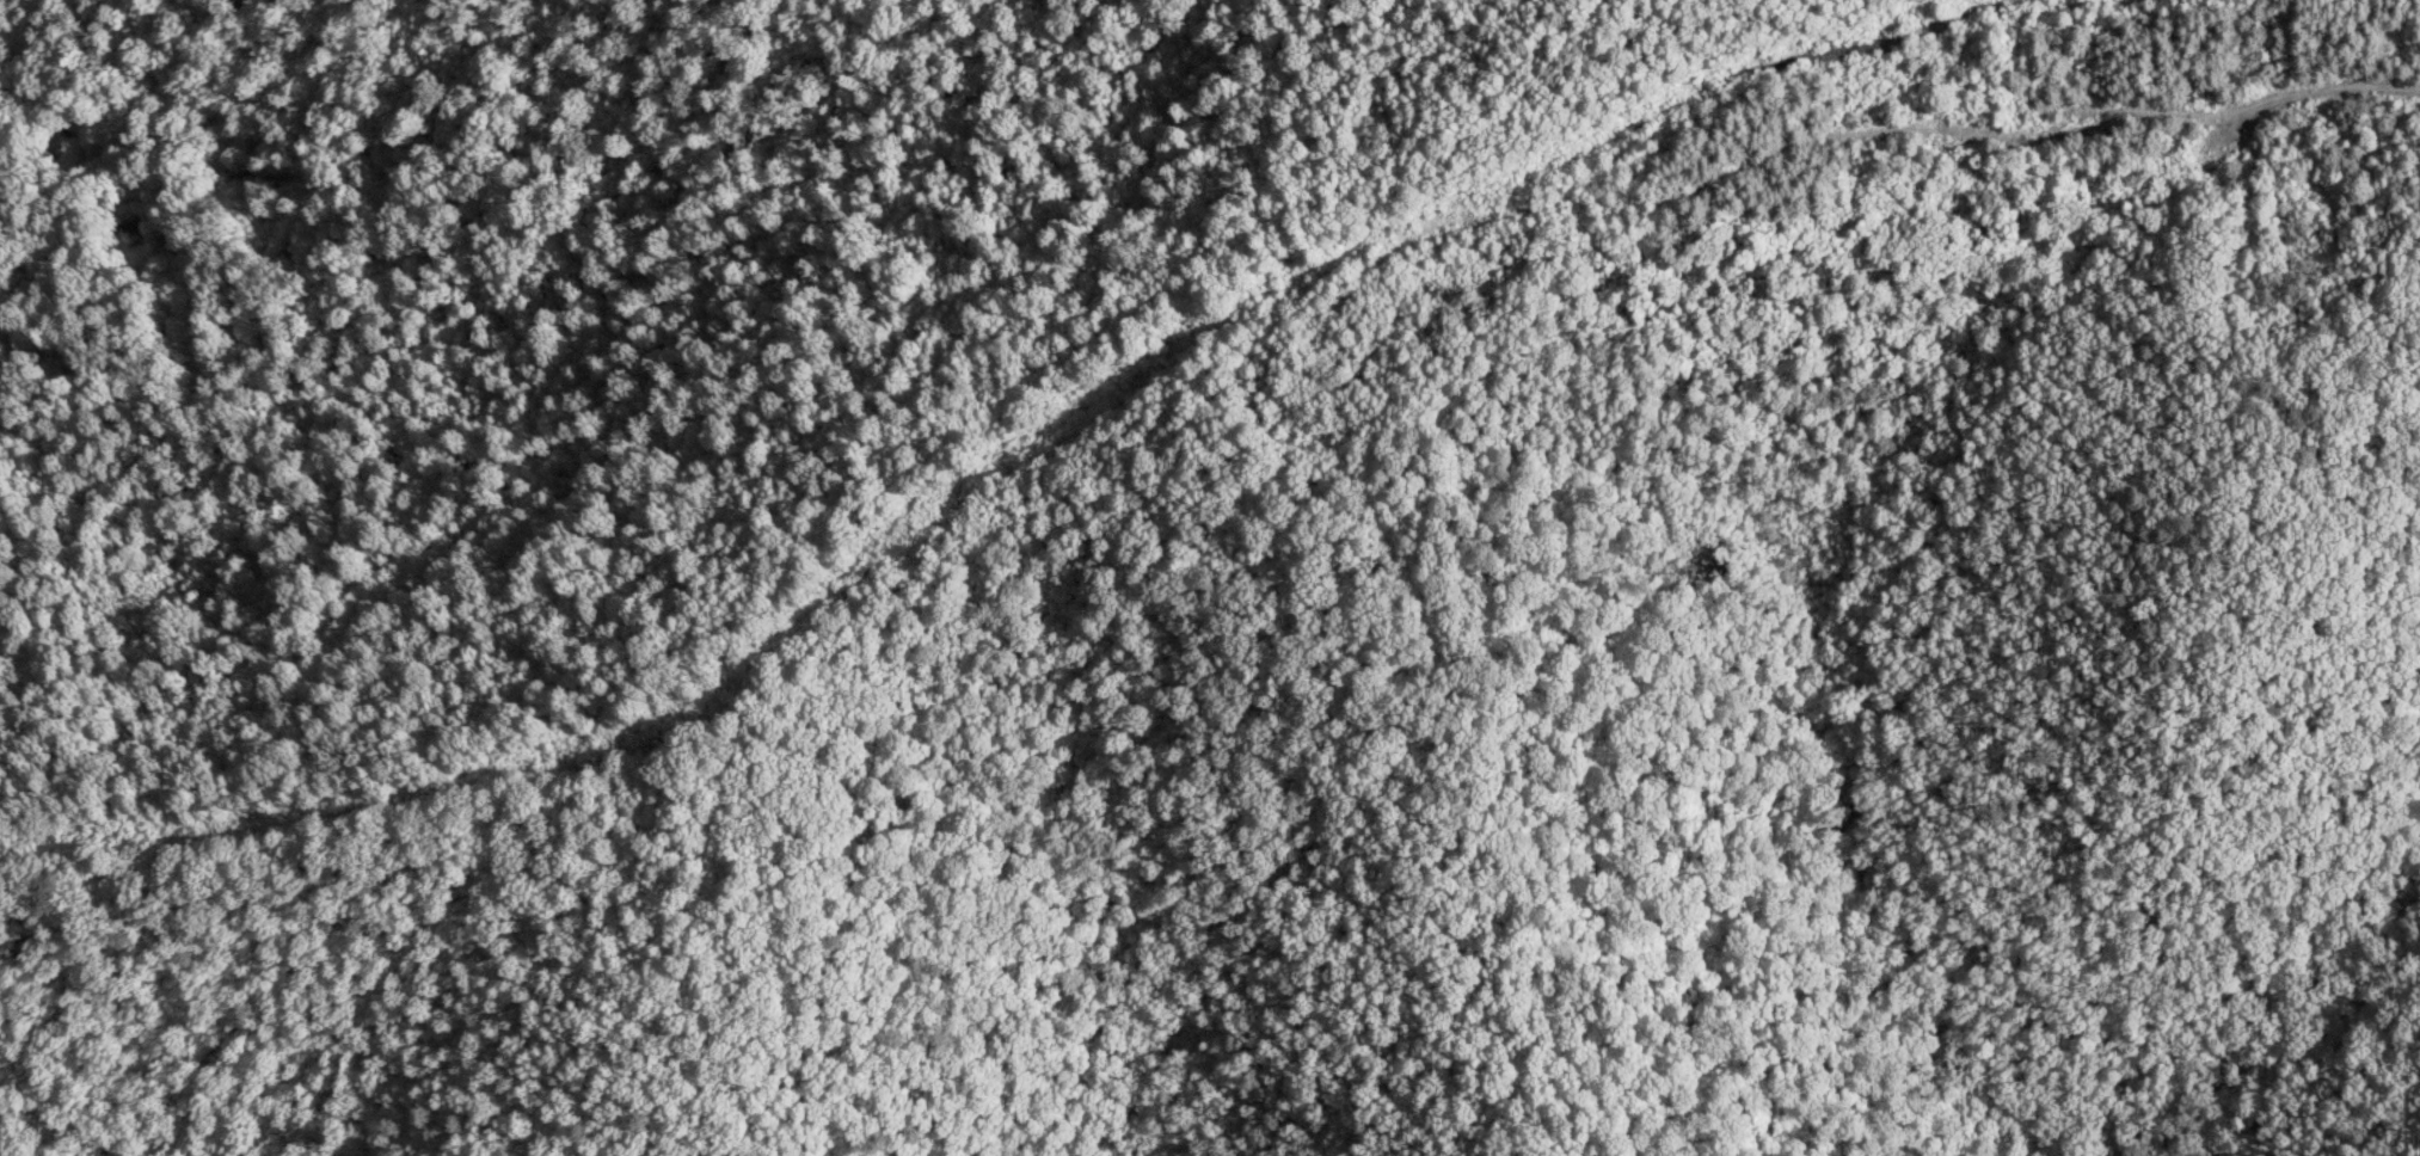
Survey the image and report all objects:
road: (2002, 128)

